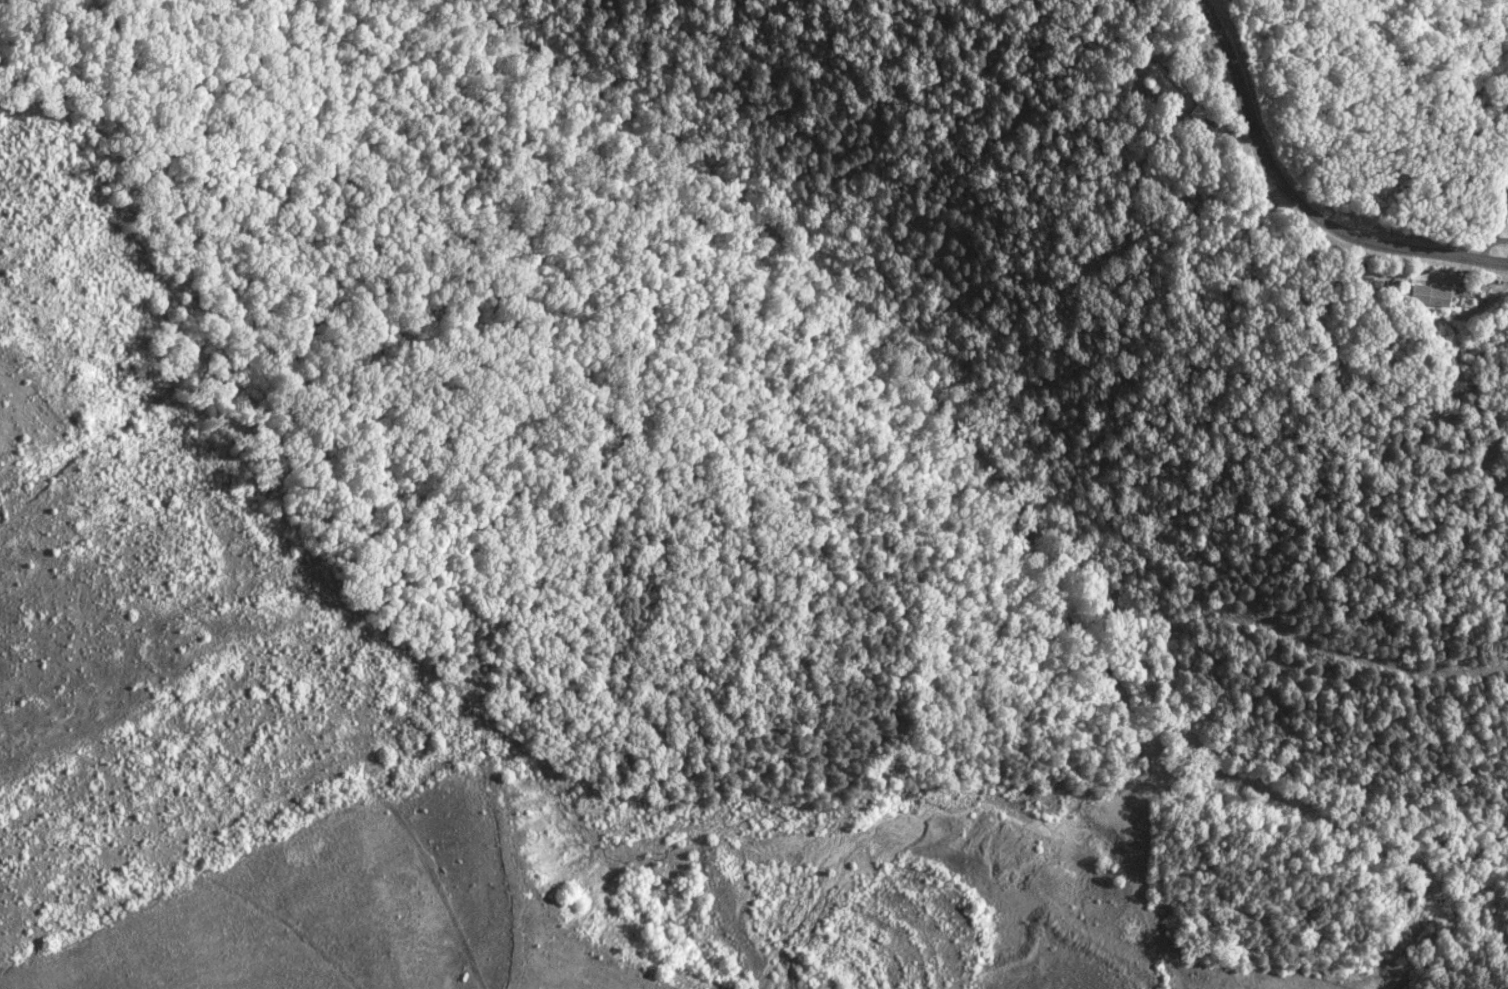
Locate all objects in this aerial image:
road: (1300, 198)
building: (1423, 297)
quarry: (662, 901)
road: (1174, 975)

